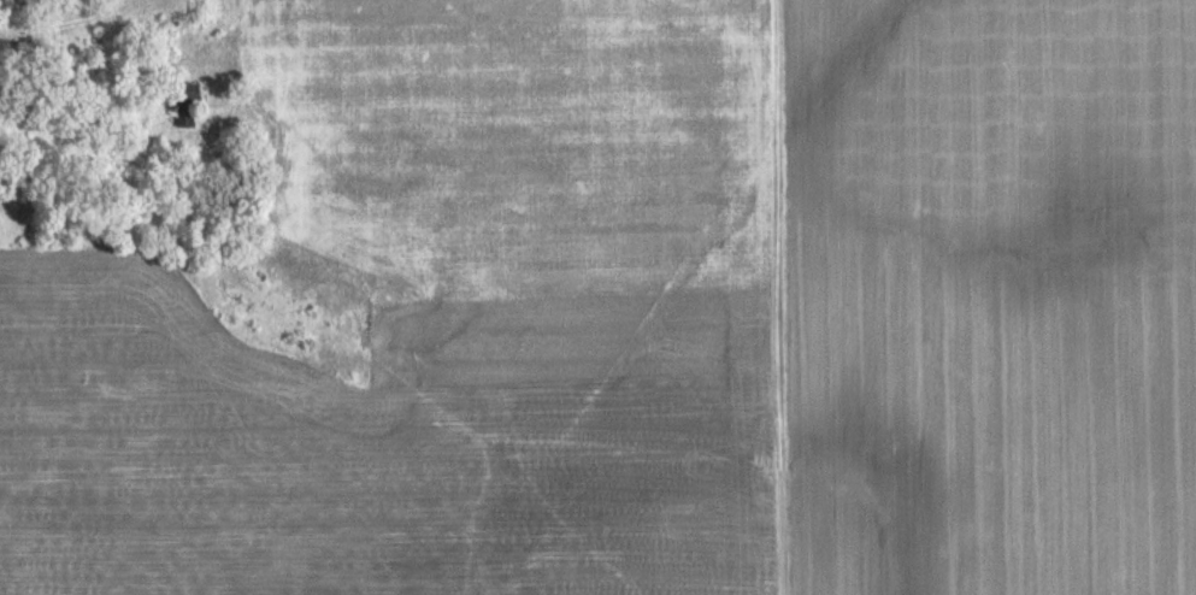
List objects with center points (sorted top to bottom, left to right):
building: (184, 112)

